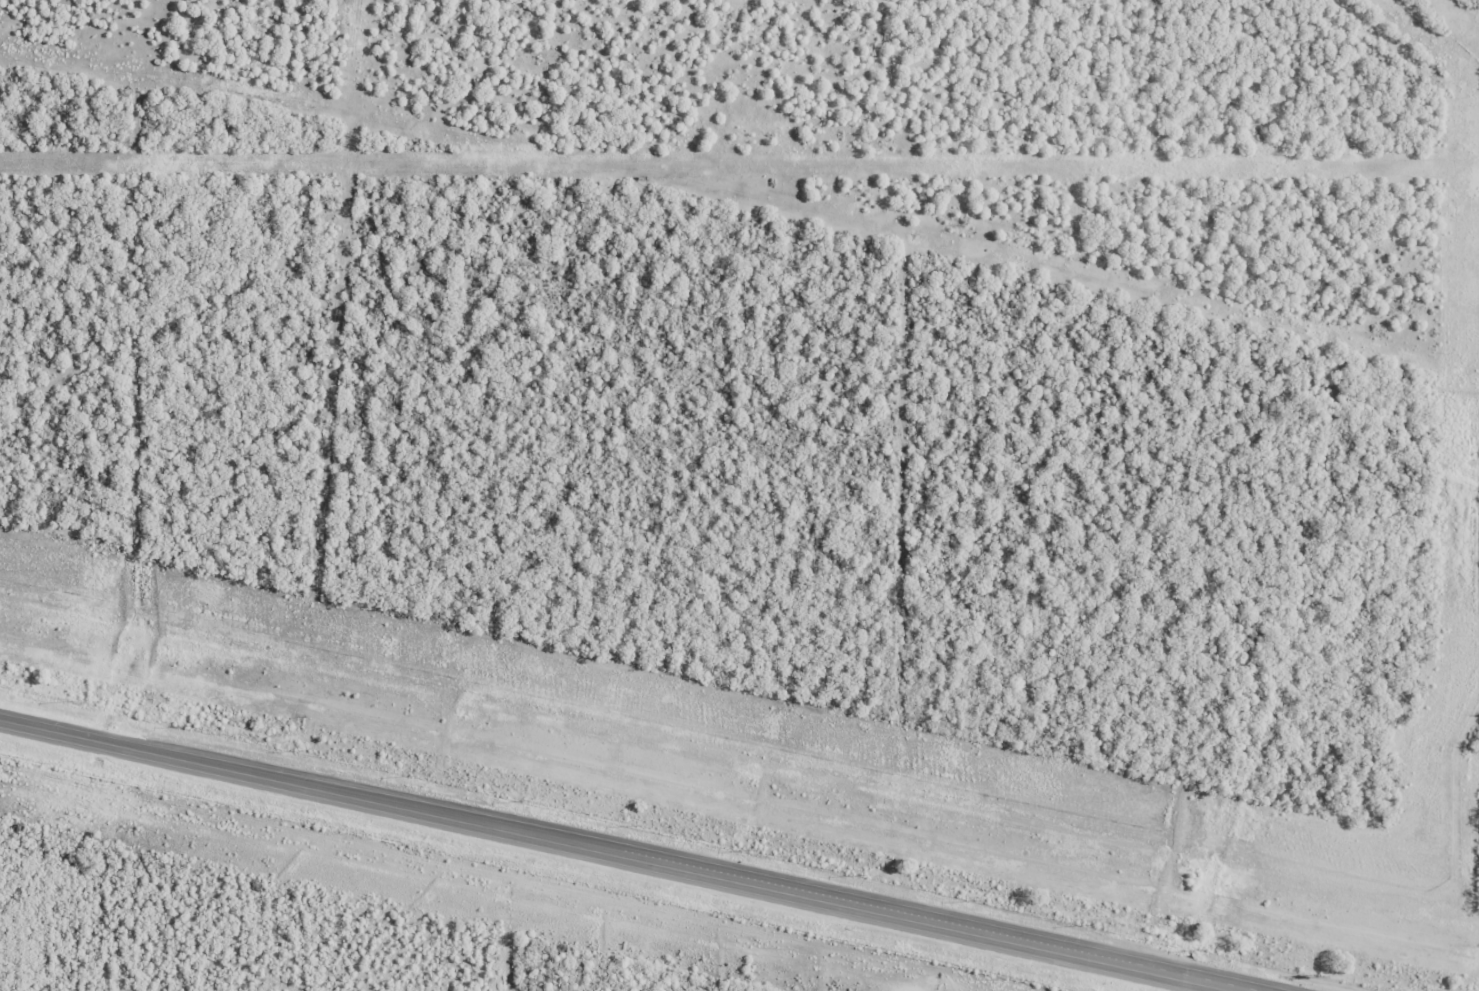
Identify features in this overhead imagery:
road: (611, 856)

